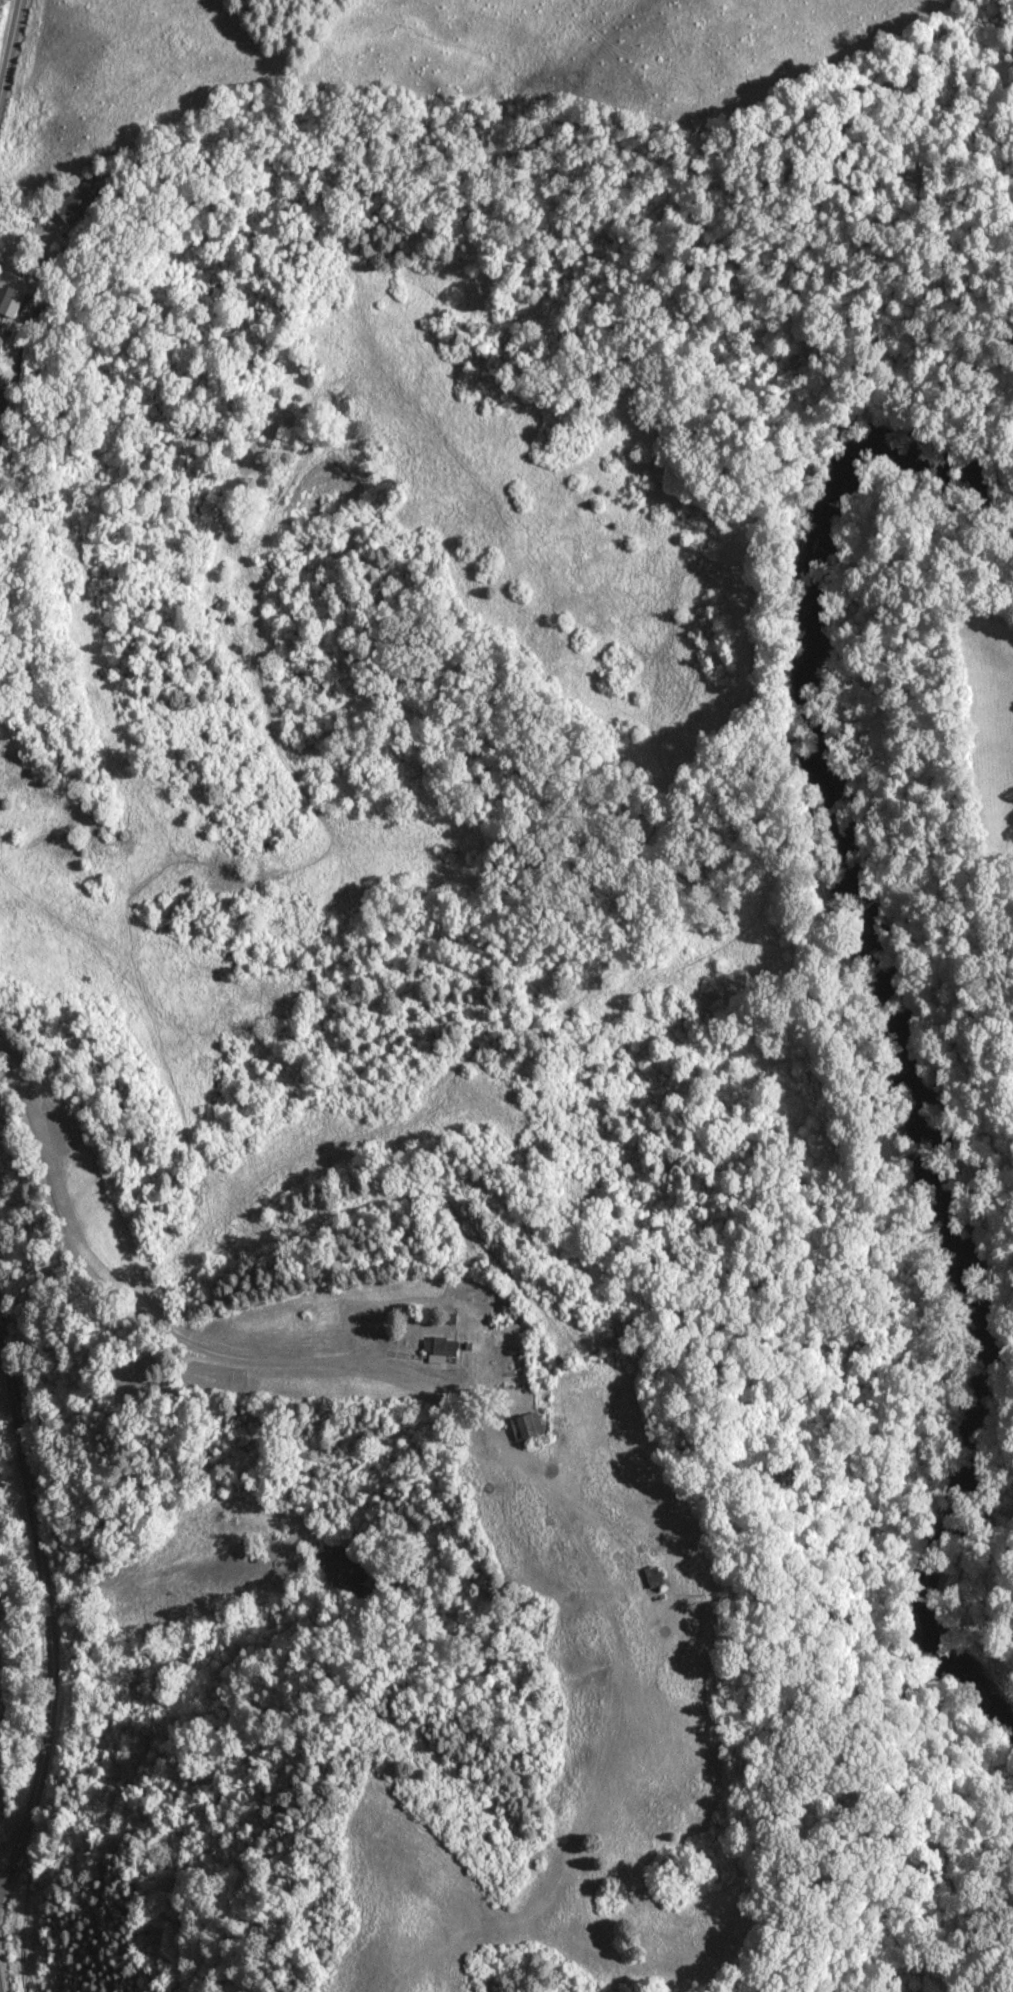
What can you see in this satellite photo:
road: (11, 49)
building: (87, 202)
building: (9, 303)
road: (112, 1298)
building: (442, 1348)
building: (527, 1427)
road: (504, 1444)
building: (651, 1578)
road: (133, 1582)
road: (47, 1609)

